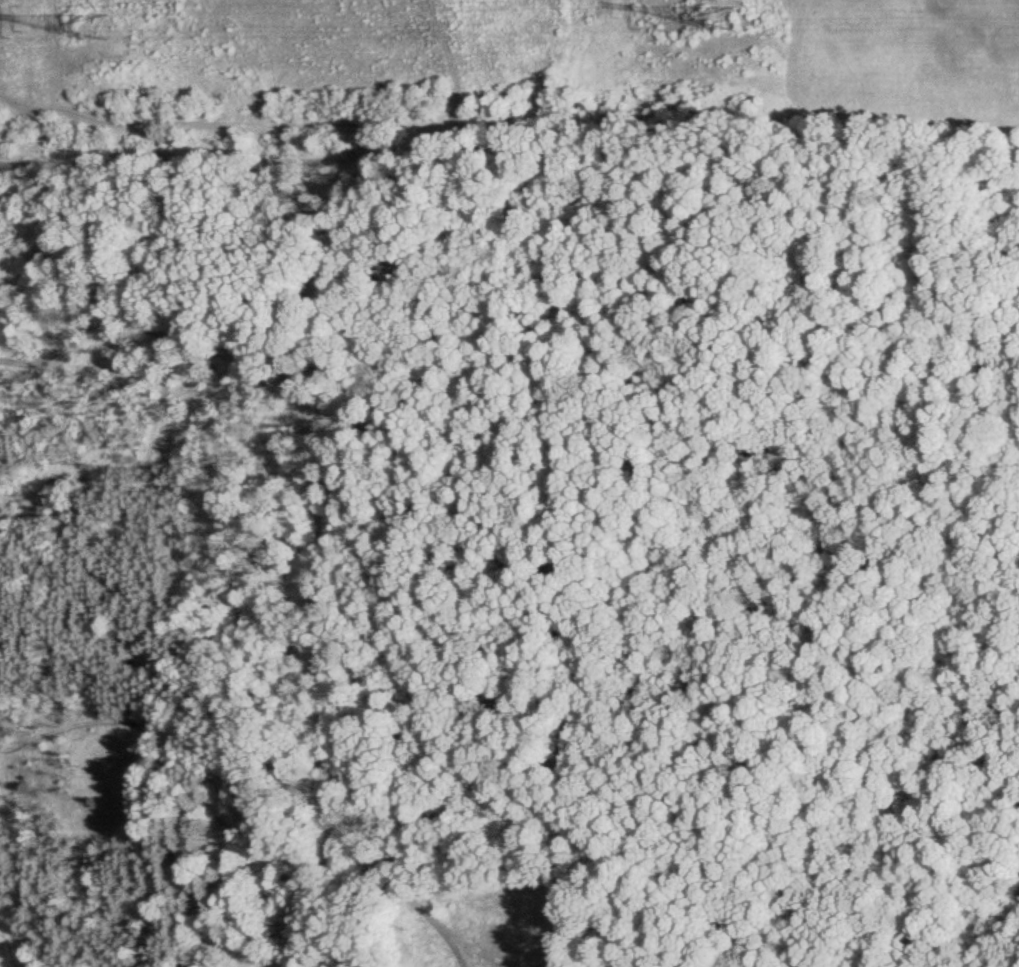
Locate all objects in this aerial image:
power tower: (722, 16)
power tower: (92, 23)

